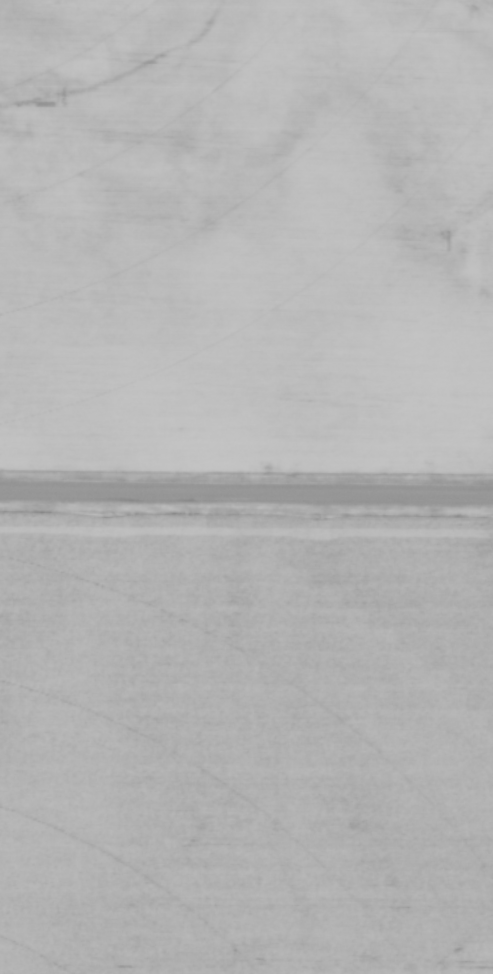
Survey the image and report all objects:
road: (246, 490)

